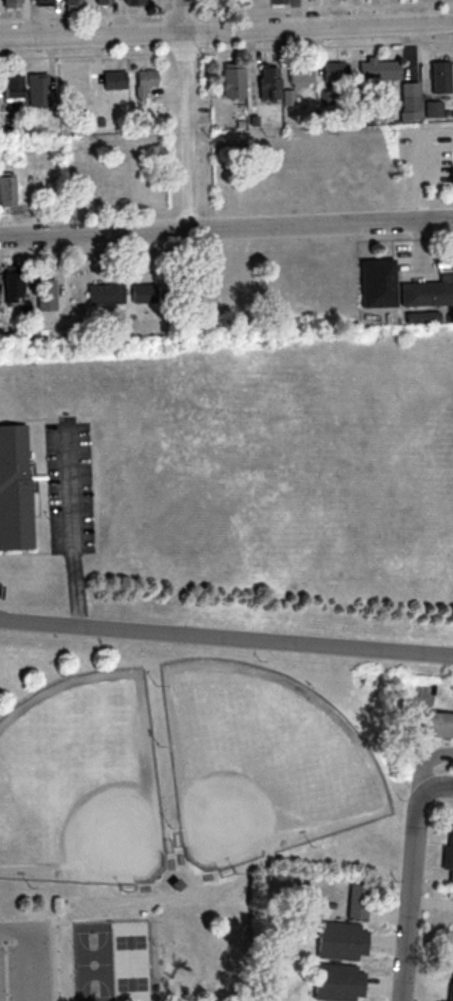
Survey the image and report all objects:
building: (40, 2)
building: (103, 2)
building: (8, 3)
building: (71, 5)
road: (226, 30)
building: (113, 81)
building: (10, 89)
building: (36, 90)
road: (188, 113)
building: (7, 191)
road: (226, 226)
building: (11, 284)
building: (427, 291)
building: (44, 293)
building: (103, 294)
road: (226, 637)
building: (435, 723)
park: (261, 761)
park: (81, 781)
road: (438, 785)
park: (181, 807)
building: (447, 851)
road: (412, 895)
road: (93, 897)
road: (162, 897)
road: (144, 922)
building: (451, 936)
road: (55, 940)
building: (336, 940)
road: (32, 949)
parking lot: (24, 961)
park: (131, 961)
road: (73, 962)
park: (94, 962)
building: (335, 982)
building: (450, 984)

